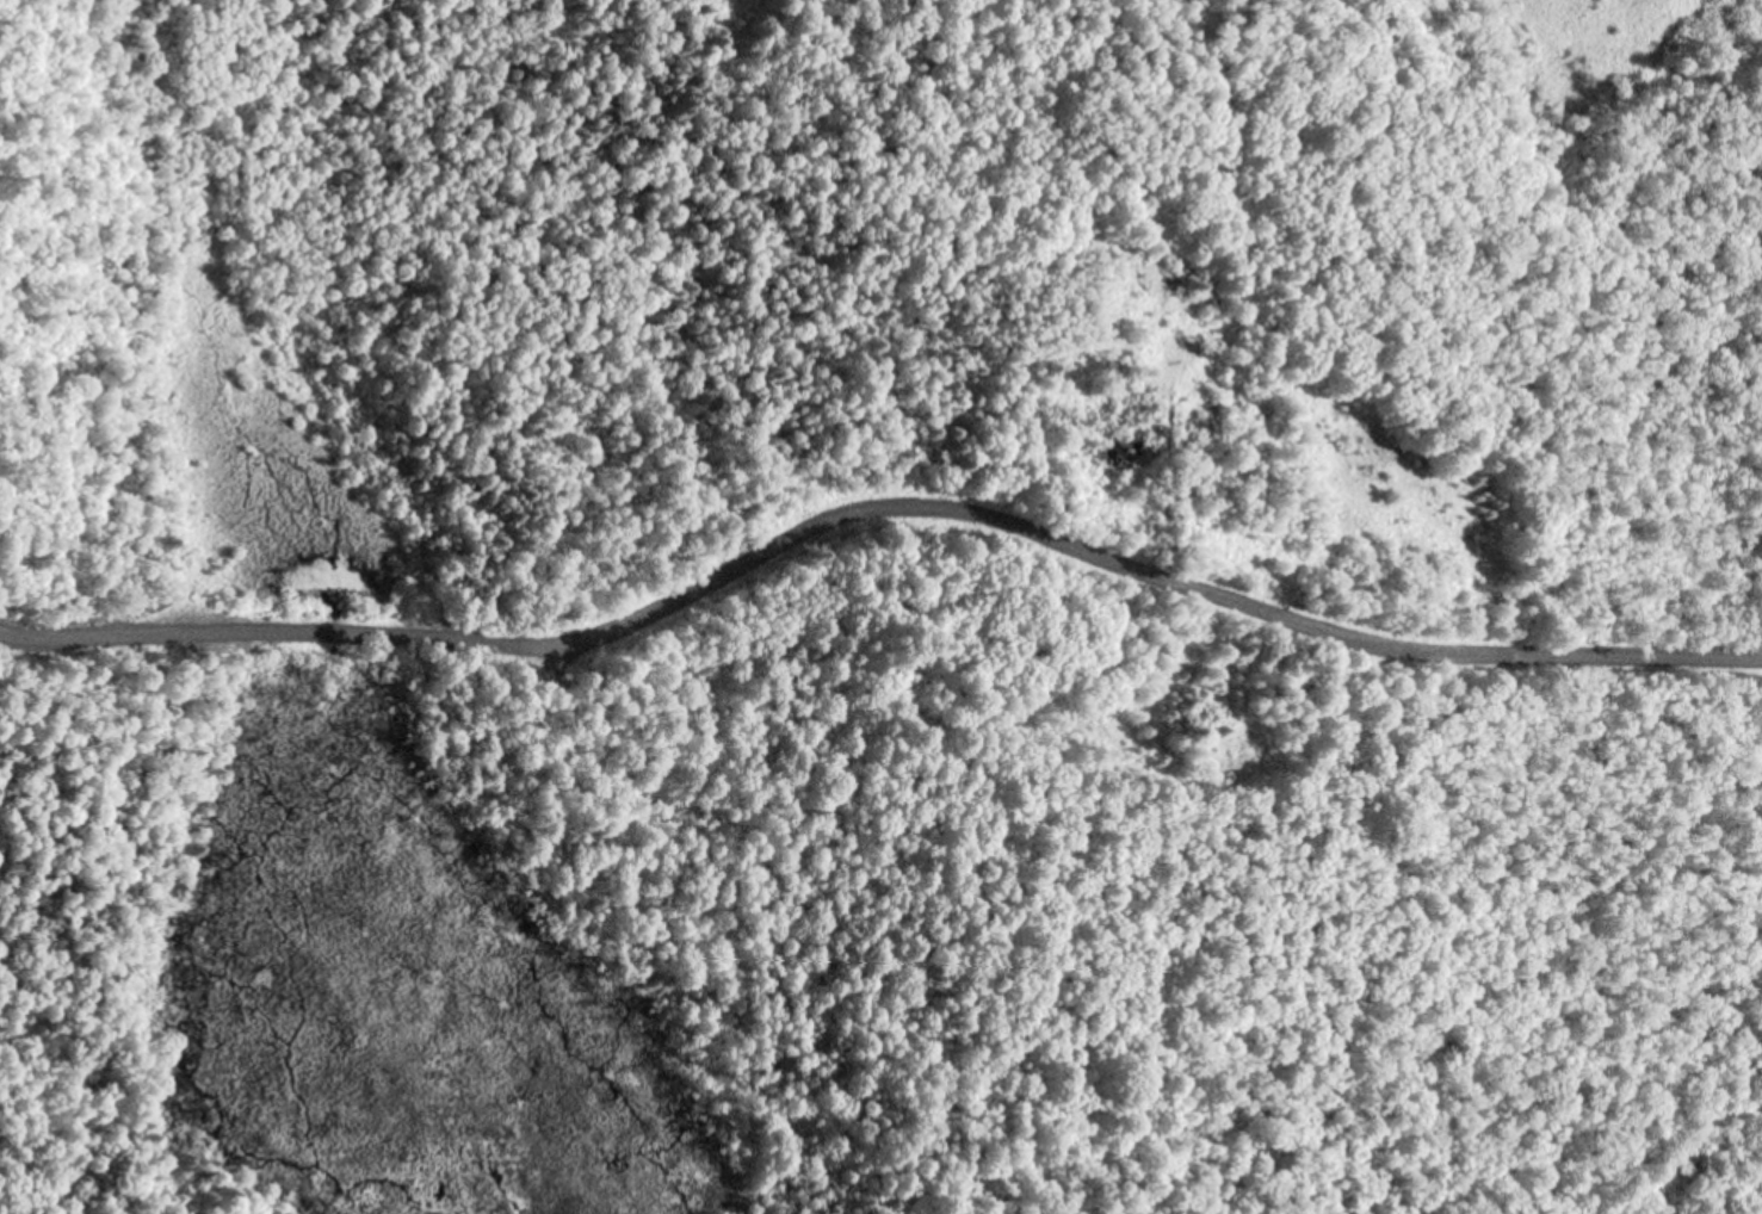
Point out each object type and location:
building: (1123, 454)
road: (876, 508)

